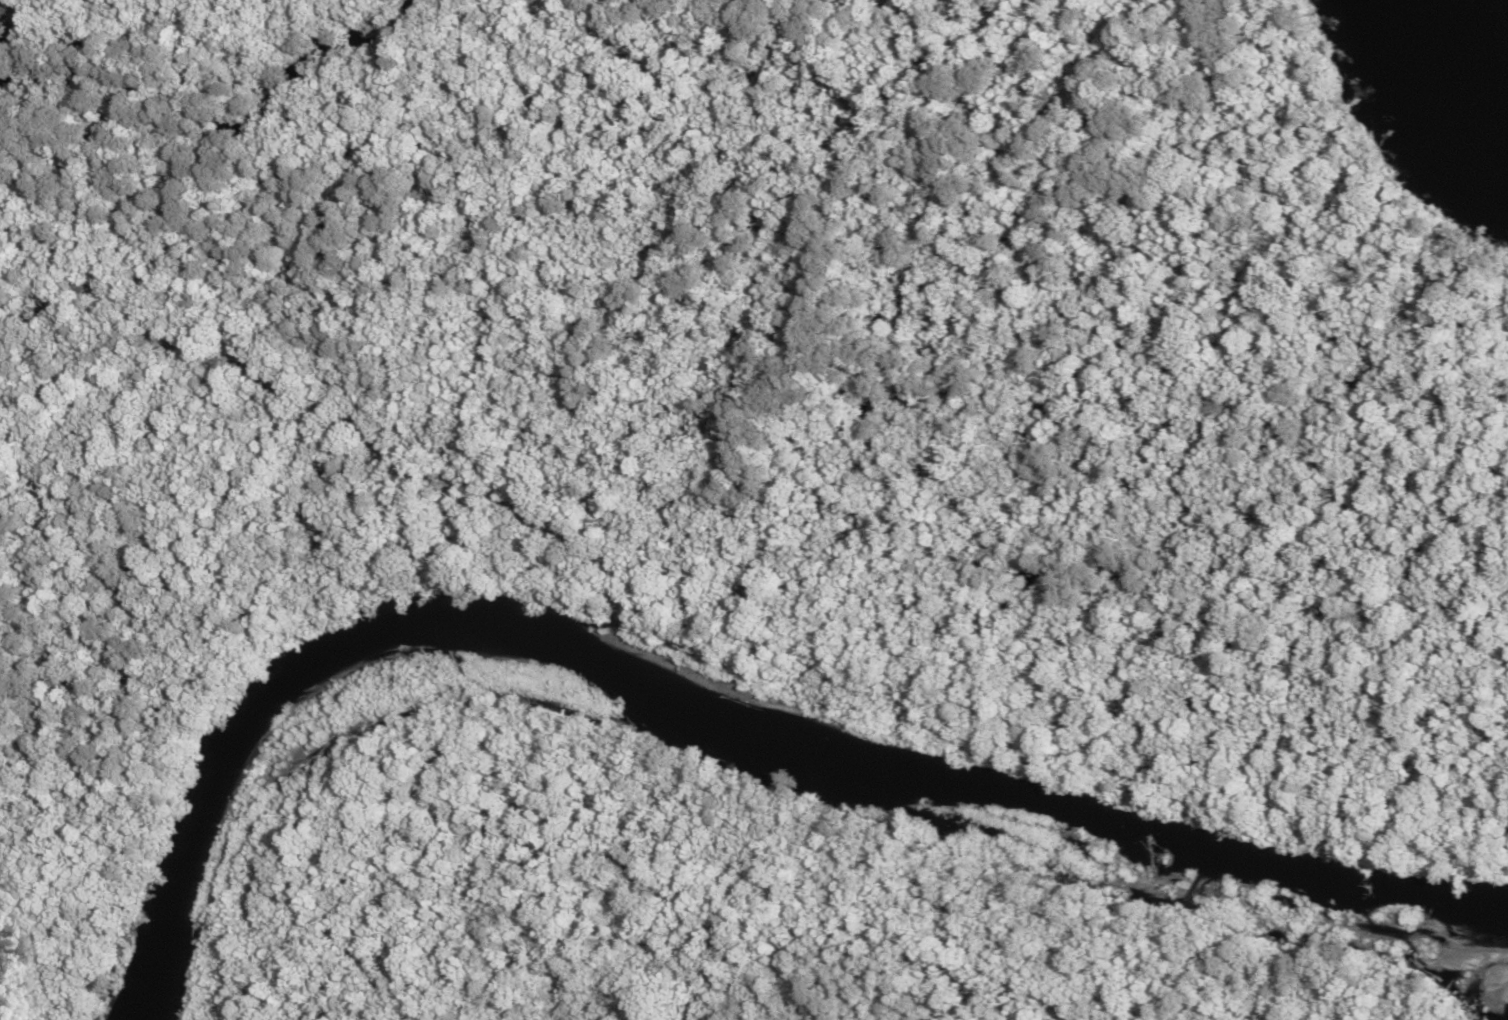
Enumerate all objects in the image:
river: (1461, 66)

